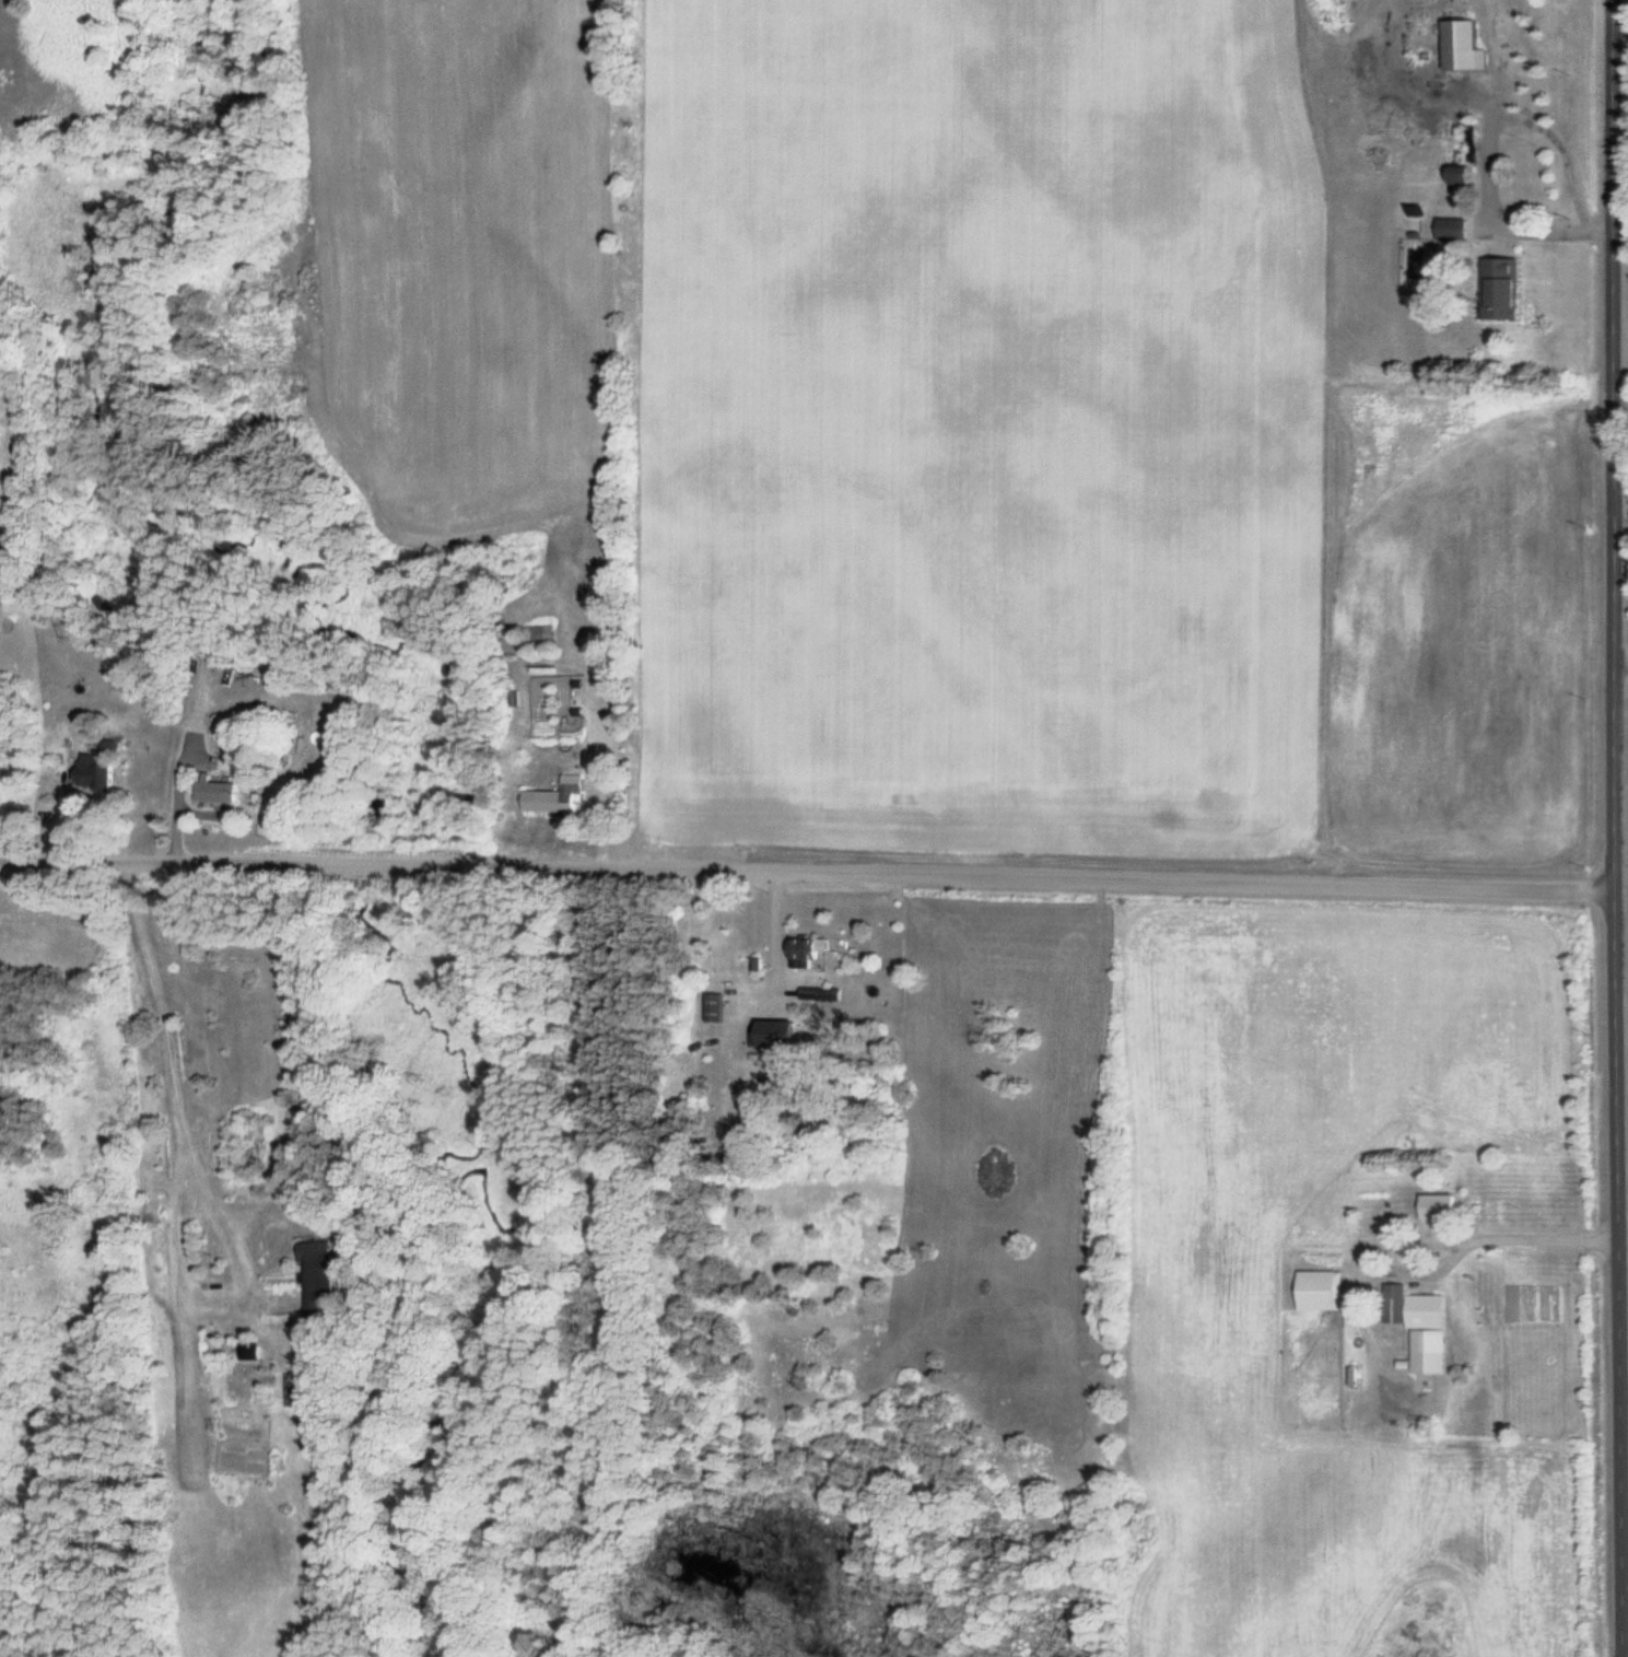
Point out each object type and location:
building: (1472, 46)
building: (1465, 174)
building: (1459, 229)
building: (1511, 280)
building: (544, 632)
building: (113, 745)
building: (99, 771)
building: (223, 791)
building: (563, 797)
road: (1589, 828)
road: (794, 857)
building: (811, 953)
building: (823, 995)
building: (718, 1007)
building: (787, 1032)
building: (1443, 1206)
building: (323, 1275)
building: (1327, 1291)
building: (1427, 1326)
building: (298, 1390)

